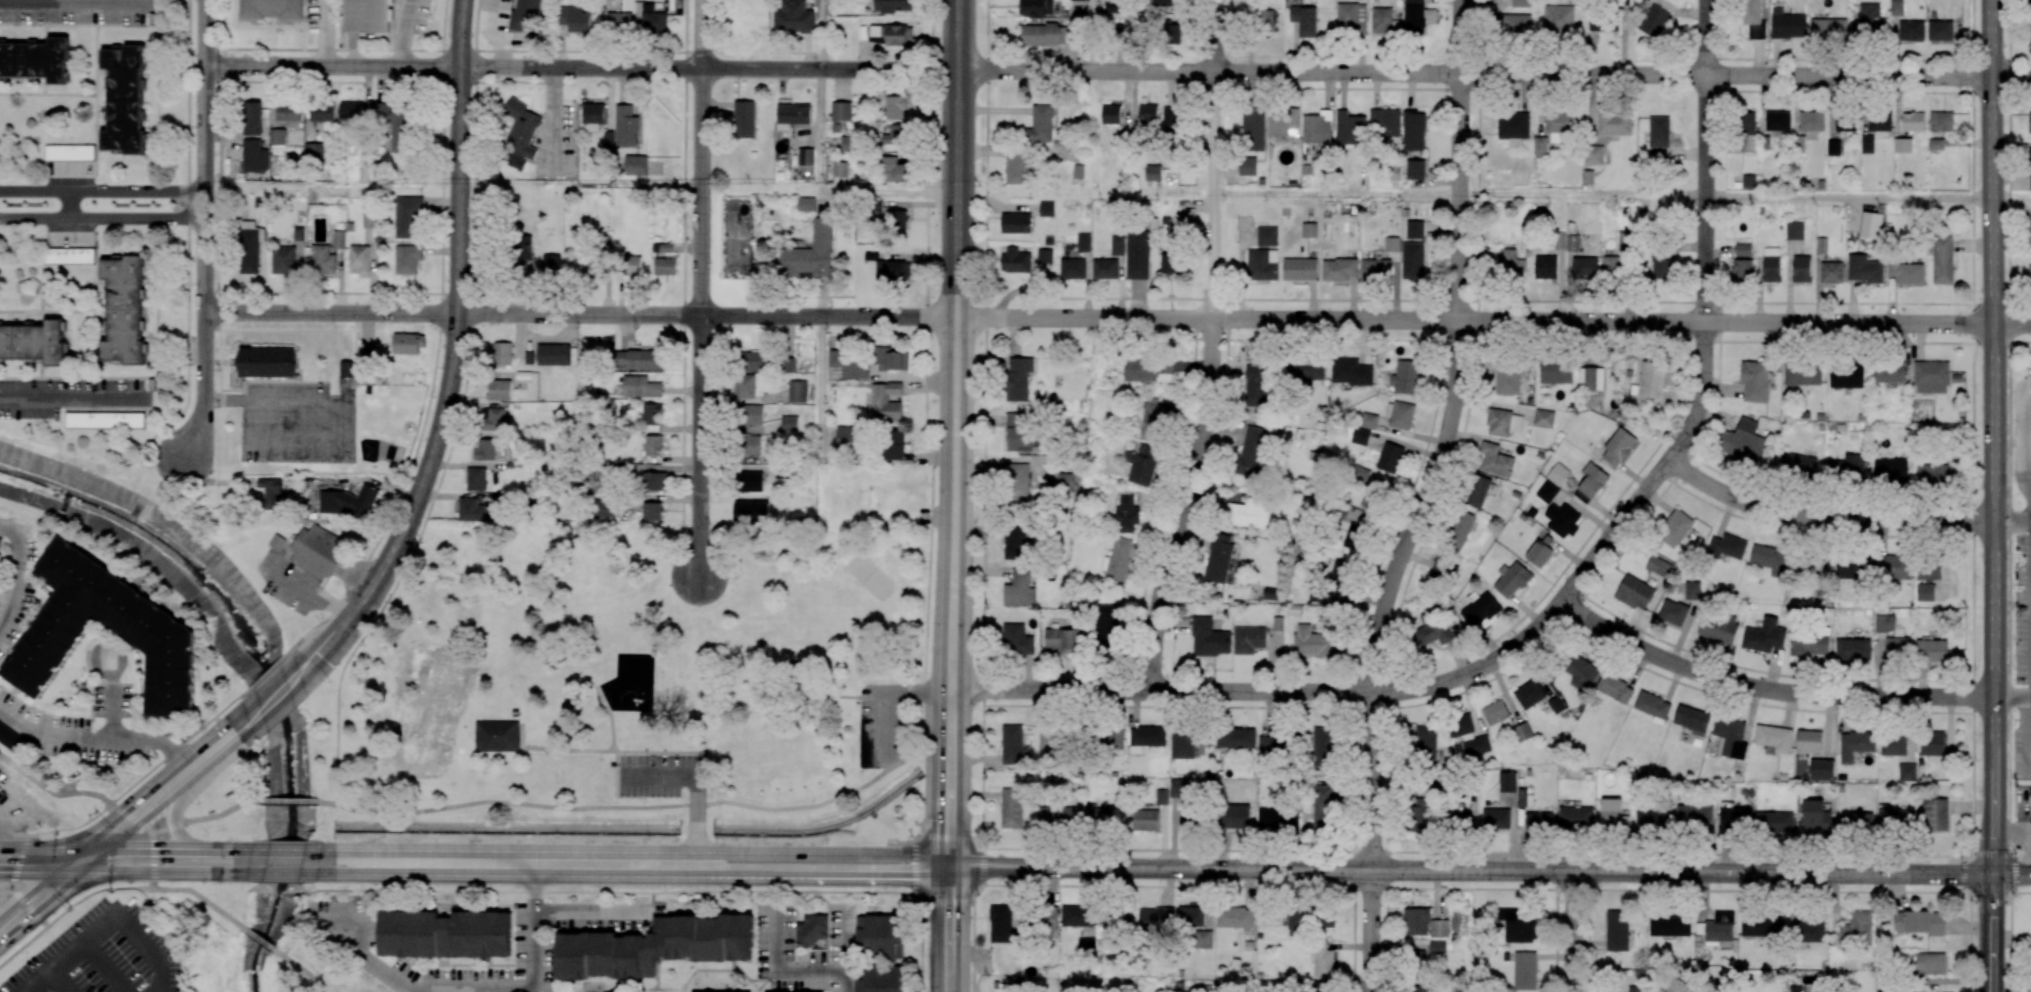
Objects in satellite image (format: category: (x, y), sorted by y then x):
building: (1074, 0)
road: (76, 2)
building: (1163, 2)
building: (1520, 3)
building: (893, 6)
building: (1113, 6)
building: (1038, 7)
building: (1896, 7)
building: (271, 9)
building: (368, 15)
building: (524, 16)
building: (1417, 16)
building: (793, 17)
building: (573, 18)
building: (1753, 18)
building: (1264, 19)
building: (1351, 19)
building: (1558, 19)
building: (1304, 20)
building: (1381, 20)
building: (1653, 20)
building: (619, 21)
building: (654, 22)
building: (1868, 22)
building: (1513, 24)
building: (1603, 24)
building: (1787, 25)
building: (1828, 29)
building: (1911, 30)
building: (1939, 30)
building: (1173, 32)
building: (2030, 32)
road: (402, 33)
road: (823, 34)
building: (891, 34)
building: (1043, 34)
road: (1094, 35)
building: (36, 59)
road: (332, 66)
road: (708, 69)
road: (1494, 74)
building: (124, 99)
building: (896, 107)
building: (351, 111)
building: (841, 111)
building: (323, 112)
building: (289, 113)
building: (1148, 113)
building: (1110, 114)
building: (792, 115)
building: (593, 116)
building: (253, 118)
building: (744, 119)
building: (1171, 119)
building: (1777, 120)
building: (1811, 121)
building: (1879, 121)
building: (1912, 121)
building: (1941, 121)
building: (1283, 122)
building: (1559, 122)
building: (1845, 122)
building: (2029, 122)
building: (394, 123)
building: (1385, 123)
building: (1614, 124)
building: (1039, 125)
building: (626, 126)
building: (1317, 127)
building: (1513, 127)
building: (522, 128)
building: (1349, 128)
building: (1253, 129)
building: (1414, 130)
building: (1658, 131)
building: (1748, 132)
building: (896, 135)
building: (278, 136)
building: (848, 143)
building: (1799, 143)
building: (1867, 144)
building: (1935, 144)
building: (1902, 145)
road: (442, 146)
building: (1540, 147)
building: (1833, 148)
building: (1658, 151)
building: (70, 152)
building: (313, 152)
building: (1593, 155)
building: (254, 156)
road: (957, 158)
building: (806, 159)
road: (1706, 161)
road: (1992, 162)
building: (635, 164)
building: (1247, 166)
building: (2030, 167)
building: (839, 168)
building: (1016, 168)
building: (892, 169)
building: (1415, 169)
building: (1078, 171)
building: (1152, 172)
building: (1394, 174)
building: (1588, 177)
building: (1748, 181)
road: (104, 190)
road: (829, 193)
road: (1460, 196)
road: (1849, 200)
road: (70, 204)
building: (806, 204)
building: (1046, 209)
building: (408, 217)
road: (105, 218)
building: (897, 218)
building: (367, 220)
building: (1015, 223)
building: (1871, 225)
building: (1415, 229)
building: (1309, 230)
building: (1794, 230)
road: (205, 231)
building: (2029, 232)
building: (1267, 236)
building: (339, 239)
building: (1566, 241)
building: (1084, 242)
building: (1392, 243)
building: (1117, 245)
building: (1822, 245)
building: (523, 248)
building: (1743, 250)
building: (250, 251)
building: (810, 253)
building: (1044, 255)
building: (1137, 255)
building: (69, 256)
building: (283, 259)
building: (359, 259)
building: (407, 259)
building: (1413, 259)
building: (322, 260)
building: (1016, 260)
building: (1942, 260)
building: (1509, 261)
building: (1170, 262)
building: (551, 264)
building: (1262, 264)
building: (1611, 264)
building: (1771, 264)
building: (589, 265)
building: (1661, 265)
building: (632, 266)
building: (665, 266)
building: (1584, 266)
building: (1545, 267)
building: (1072, 268)
building: (1105, 268)
building: (1802, 268)
building: (1300, 269)
building: (1340, 269)
building: (1376, 269)
building: (1863, 269)
building: (893, 270)
building: (1742, 270)
building: (1831, 272)
building: (1906, 272)
building: (2029, 275)
road: (700, 289)
road: (323, 292)
road: (458, 293)
building: (125, 307)
road: (331, 312)
road: (706, 315)
road: (456, 321)
road: (1473, 321)
road: (2011, 324)
road: (275, 329)
road: (188, 342)
building: (35, 343)
building: (408, 343)
road: (1212, 348)
road: (220, 350)
building: (502, 353)
building: (555, 353)
building: (530, 357)
building: (647, 358)
building: (890, 358)
building: (268, 361)
building: (754, 361)
building: (787, 363)
building: (851, 363)
building: (347, 368)
building: (1148, 370)
building: (1307, 370)
building: (1556, 370)
building: (1351, 372)
building: (1889, 372)
building: (1802, 373)
building: (524, 374)
building: (1846, 376)
building: (1406, 377)
building: (1507, 377)
building: (1930, 377)
building: (1018, 378)
building: (1591, 379)
road: (269, 380)
building: (1755, 381)
building: (1650, 382)
building: (744, 386)
building: (1256, 386)
building: (640, 387)
building: (501, 389)
building: (797, 391)
road: (76, 399)
building: (886, 402)
road: (955, 405)
building: (751, 414)
building: (1400, 414)
road: (459, 415)
building: (651, 417)
building: (493, 418)
building: (1543, 418)
building: (106, 419)
building: (1369, 420)
building: (1154, 421)
building: (1503, 422)
parking lot: (297, 423)
building: (789, 424)
building: (1018, 432)
road: (925, 435)
building: (1360, 436)
road: (2028, 436)
road: (2008, 438)
road: (1446, 440)
building: (1741, 441)
building: (751, 444)
building: (893, 444)
building: (653, 445)
building: (1618, 447)
building: (485, 450)
building: (1253, 451)
building: (1390, 457)
building: (1496, 459)
building: (1142, 464)
building: (1796, 465)
building: (1846, 467)
building: (1890, 469)
building: (1557, 473)
building: (1933, 473)
building: (477, 478)
building: (1065, 480)
building: (654, 481)
building: (749, 481)
building: (1016, 481)
building: (1590, 482)
road: (401, 489)
building: (1476, 491)
building: (1547, 491)
building: (272, 492)
building: (128, 498)
road: (1971, 498)
building: (348, 501)
building: (470, 510)
building: (652, 511)
building: (752, 511)
road: (984, 511)
building: (1251, 513)
building: (1127, 515)
building: (1562, 519)
road: (2012, 519)
road: (1825, 520)
building: (1352, 525)
building: (1674, 528)
building: (1458, 530)
building: (1, 540)
building: (278, 541)
building: (1015, 542)
building: (1727, 547)
building: (319, 553)
building: (1219, 557)
building: (1769, 559)
building: (1117, 561)
building: (1806, 565)
building: (1659, 566)
building: (1892, 566)
building: (1851, 568)
building: (1928, 568)
building: (1335, 570)
road: (18, 571)
road: (356, 575)
park: (868, 576)
building: (1511, 579)
traffic signals: (373, 584)
building: (1017, 589)
building: (1692, 590)
road: (319, 592)
building: (1634, 592)
building: (1924, 592)
building: (1271, 593)
road: (1995, 599)
building: (1480, 608)
building: (1673, 612)
building: (145, 623)
building: (1885, 623)
building: (1106, 627)
building: (1718, 627)
building: (1432, 628)
building: (1764, 636)
building: (1209, 638)
building: (1016, 639)
building: (1061, 639)
building: (1248, 639)
road: (322, 641)
building: (1314, 642)
building: (1809, 644)
building: (1897, 648)
building: (1853, 649)
building: (1931, 650)
road: (326, 652)
river: (262, 664)
building: (791, 668)
road: (269, 670)
building: (1580, 671)
road: (950, 673)
road: (269, 684)
road: (1431, 685)
building: (1615, 688)
road: (1769, 689)
road: (915, 691)
park: (613, 694)
building: (1529, 694)
road: (832, 695)
road: (112, 696)
road: (2013, 697)
building: (1555, 705)
building: (1652, 705)
road: (277, 707)
building: (1495, 712)
road: (611, 717)
building: (1692, 719)
parking lot: (879, 722)
road: (880, 727)
building: (1522, 732)
building: (498, 735)
building: (1467, 735)
road: (91, 737)
building: (1235, 737)
building: (1729, 737)
building: (10, 738)
building: (1145, 738)
building: (1050, 739)
building: (1109, 739)
building: (1774, 739)
building: (1424, 740)
building: (1809, 741)
building: (1188, 742)
building: (1931, 743)
building: (1012, 744)
building: (1855, 744)
building: (1893, 744)
road: (2028, 744)
building: (1270, 745)
building: (1322, 746)
road: (566, 749)
road: (638, 751)
road: (220, 756)
building: (1822, 769)
building: (1907, 772)
road: (26, 773)
road: (617, 774)
road: (658, 774)
parking lot: (662, 774)
road: (160, 778)
building: (1507, 782)
building: (1179, 787)
road: (100, 795)
road: (118, 796)
building: (1162, 796)
building: (1525, 798)
road: (292, 799)
road: (641, 806)
building: (1011, 808)
building: (1323, 808)
road: (697, 813)
building: (1613, 813)
building: (1418, 814)
building: (1695, 814)
road: (149, 815)
building: (1935, 815)
road: (208, 816)
building: (1059, 816)
building: (1100, 816)
building: (1233, 816)
building: (1815, 816)
building: (1496, 818)
building: (1895, 818)
building: (1187, 819)
building: (1277, 819)
building: (1576, 819)
building: (1145, 820)
building: (1457, 821)
building: (1653, 821)
building: (1735, 821)
building: (1859, 821)
building: (1538, 822)
building: (1775, 823)
road: (175, 826)
road: (951, 836)
road: (55, 847)
traffic signals: (77, 847)
traffic signals: (111, 848)
road: (161, 848)
road: (232, 849)
road: (286, 849)
road: (647, 851)
traffic signals: (951, 854)
road: (2022, 856)
road: (62, 859)
road: (96, 860)
road: (951, 865)
road: (961, 871)
road: (1482, 871)
road: (40, 872)
traffic signals: (48, 872)
traffic signals: (82, 872)
road: (153, 872)
road: (164, 873)
road: (282, 873)
traffic signals: (1994, 875)
road: (2012, 875)
road: (633, 876)
traffic signals: (951, 876)
road: (24, 892)
road: (2014, 892)
road: (28, 907)
road: (40, 908)
road: (69, 909)
road: (219, 910)
building: (1074, 915)
building: (1191, 915)
building: (1235, 917)
building: (1048, 918)
building: (1115, 918)
building: (1155, 919)
building: (1323, 920)
building: (1415, 921)
building: (1920, 922)
road: (105, 923)
building: (1000, 923)
building: (1295, 923)
building: (1516, 926)
building: (1669, 926)
building: (1762, 926)
building: (1717, 927)
building: (1439, 928)
building: (812, 929)
building: (1617, 930)
road: (1372, 931)
building: (1809, 931)
road: (1573, 932)
road: (952, 933)
road: (1992, 933)
building: (445, 934)
road: (533, 934)
building: (879, 935)
road: (259, 938)
building: (1203, 939)
road: (2009, 941)
building: (654, 946)
building: (1437, 946)
road: (847, 953)
building: (1419, 956)
building: (1322, 959)
building: (1930, 963)
road: (299, 967)
road: (784, 967)
building: (1525, 970)
building: (881, 979)
road: (59, 981)
building: (1320, 987)
road: (420, 988)
building: (1415, 988)
building: (1633, 988)
building: (1795, 989)

